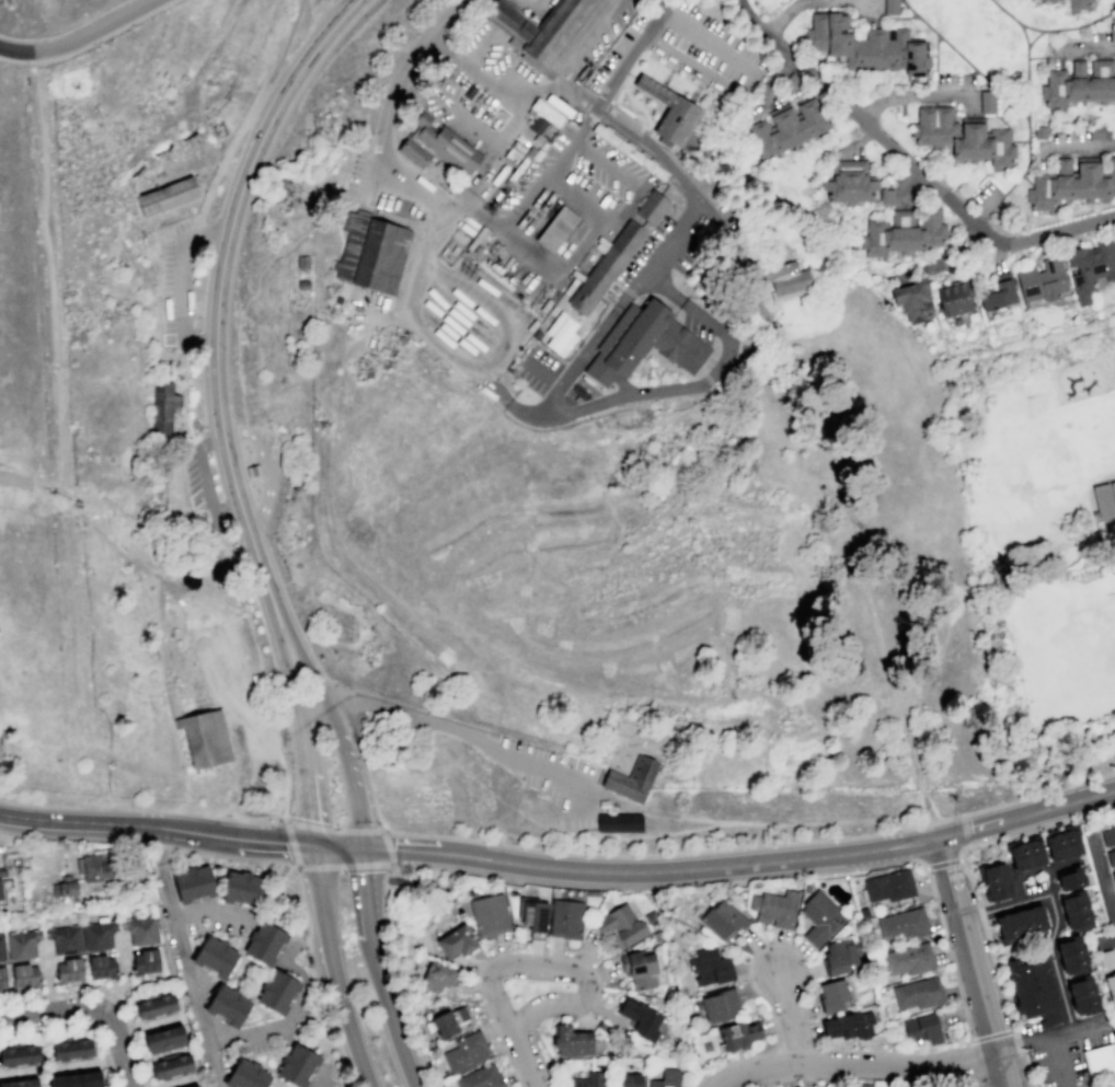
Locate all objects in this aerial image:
road: (903, 1)
building: (1079, 3)
building: (889, 7)
road: (532, 8)
road: (867, 8)
parking lot: (683, 9)
road: (784, 14)
parking lot: (616, 25)
building: (548, 30)
road: (1054, 30)
road: (78, 36)
road: (1034, 36)
road: (589, 42)
road: (89, 44)
building: (514, 44)
road: (444, 45)
building: (866, 45)
road: (284, 46)
parking lot: (618, 49)
parking lot: (705, 49)
road: (1087, 51)
road: (406, 65)
road: (1026, 70)
road: (476, 71)
road: (767, 78)
road: (777, 78)
road: (751, 80)
building: (1080, 81)
building: (791, 82)
road: (557, 84)
road: (917, 96)
building: (986, 101)
parking lot: (490, 103)
road: (1011, 103)
building: (559, 105)
road: (954, 105)
building: (547, 113)
building: (675, 119)
road: (618, 124)
road: (1007, 126)
building: (785, 128)
building: (538, 130)
building: (1039, 131)
building: (1095, 131)
building: (962, 136)
road: (497, 139)
building: (612, 139)
road: (1071, 147)
building: (439, 148)
building: (529, 151)
road: (227, 152)
road: (562, 159)
building: (648, 164)
road: (909, 164)
road: (618, 170)
building: (442, 172)
road: (1026, 180)
building: (848, 182)
building: (1070, 182)
parking lot: (372, 183)
building: (508, 184)
building: (657, 187)
building: (166, 196)
parking lot: (573, 196)
building: (885, 197)
parking lot: (984, 198)
road: (355, 204)
building: (652, 207)
road: (473, 208)
road: (982, 208)
building: (363, 212)
road: (337, 219)
road: (196, 227)
road: (499, 228)
building: (557, 229)
building: (901, 232)
road: (755, 244)
building: (371, 253)
parking lot: (687, 255)
parking lot: (637, 256)
road: (944, 261)
building: (301, 262)
building: (606, 267)
building: (1090, 267)
building: (784, 276)
road: (49, 278)
parking lot: (435, 278)
building: (1042, 279)
road: (181, 280)
building: (302, 284)
parking lot: (179, 286)
road: (623, 288)
building: (736, 290)
building: (998, 290)
road: (217, 293)
road: (657, 294)
building: (953, 297)
road: (636, 298)
building: (337, 299)
building: (912, 299)
road: (246, 301)
road: (663, 302)
road: (759, 310)
road: (484, 317)
building: (552, 325)
parking lot: (697, 328)
building: (537, 333)
building: (562, 337)
building: (400, 338)
parking lot: (171, 342)
road: (589, 342)
road: (182, 343)
building: (643, 343)
building: (383, 350)
parking lot: (737, 361)
road: (673, 366)
parking lot: (735, 366)
parking lot: (536, 368)
road: (540, 372)
road: (701, 372)
road: (708, 380)
road: (618, 382)
road: (622, 383)
road: (596, 386)
building: (162, 406)
road: (560, 414)
road: (186, 431)
parking lot: (272, 452)
road: (269, 466)
road: (203, 470)
building: (252, 471)
parking lot: (195, 476)
parking lot: (202, 495)
building: (1104, 497)
road: (211, 539)
road: (163, 553)
road: (929, 573)
road: (1051, 586)
road: (988, 587)
road: (872, 617)
road: (159, 625)
parking lot: (226, 646)
road: (228, 657)
road: (303, 659)
road: (284, 666)
road: (179, 696)
road: (343, 701)
road: (188, 707)
road: (279, 716)
road: (331, 716)
building: (361, 721)
road: (452, 727)
road: (658, 735)
building: (204, 738)
road: (340, 741)
road: (658, 761)
road: (601, 765)
road: (366, 773)
road: (349, 775)
parking lot: (552, 777)
building: (632, 778)
road: (307, 779)
road: (913, 785)
road: (285, 790)
road: (1028, 796)
power tower: (954, 801)
building: (602, 803)
road: (152, 811)
road: (689, 818)
road: (857, 819)
street lamp: (279, 820)
road: (356, 820)
road: (104, 822)
street lamp: (376, 822)
building: (619, 822)
road: (932, 822)
road: (1041, 826)
road: (332, 830)
road: (965, 830)
building: (1107, 836)
road: (74, 839)
road: (260, 841)
building: (1062, 842)
road: (288, 843)
road: (159, 845)
traffic signals: (312, 845)
road: (335, 846)
traffic signals: (359, 847)
road: (388, 847)
road: (419, 851)
street lamp: (968, 852)
street lamp: (186, 853)
building: (1025, 853)
road: (652, 855)
building: (1111, 856)
road: (801, 858)
building: (10, 863)
street lamp: (289, 863)
road: (943, 863)
building: (96, 866)
road: (345, 866)
street lamp: (398, 866)
road: (1032, 871)
building: (1113, 876)
road: (951, 878)
road: (394, 879)
building: (1071, 879)
building: (995, 881)
road: (1103, 881)
building: (193, 883)
road: (281, 884)
building: (888, 886)
building: (65, 887)
building: (241, 889)
building: (1, 892)
road: (416, 892)
road: (363, 893)
building: (774, 907)
road: (214, 910)
road: (262, 910)
building: (1076, 910)
building: (863, 912)
building: (488, 914)
road: (307, 915)
building: (533, 915)
building: (651, 916)
building: (819, 917)
road: (1055, 917)
building: (565, 918)
building: (722, 918)
building: (1036, 918)
road: (941, 923)
building: (1021, 923)
parking lot: (219, 924)
building: (903, 924)
building: (620, 925)
building: (140, 928)
building: (1004, 928)
road: (216, 930)
building: (97, 934)
road: (987, 935)
building: (64, 938)
road: (1107, 939)
road: (164, 940)
building: (456, 941)
building: (21, 943)
building: (265, 944)
road: (239, 947)
building: (1, 949)
building: (214, 956)
building: (1072, 956)
road: (185, 957)
building: (839, 957)
road: (241, 958)
road: (372, 958)
road: (553, 958)
building: (908, 958)
building: (1105, 958)
building: (145, 961)
building: (101, 965)
road: (334, 967)
building: (710, 967)
building: (68, 969)
road: (555, 969)
building: (639, 969)
building: (23, 974)
building: (1, 976)
building: (438, 976)
road: (124, 978)
road: (47, 980)
building: (1033, 987)
building: (1111, 987)
road: (83, 988)
road: (409, 988)
street lamp: (505, 990)
road: (49, 992)
building: (278, 992)
building: (918, 992)
building: (832, 995)
road: (21, 996)
building: (1082, 996)
road: (114, 997)
road: (984, 1003)
building: (720, 1005)
building: (154, 1006)
building: (227, 1006)
road: (92, 1007)
road: (257, 1008)
road: (126, 1010)
road: (789, 1016)
road: (290, 1017)
building: (640, 1018)
building: (449, 1020)
road: (147, 1022)
road: (1113, 1022)
building: (600, 1025)
building: (848, 1025)
road: (62, 1027)
road: (133, 1027)
building: (922, 1029)
road: (265, 1030)
road: (393, 1032)
road: (1014, 1032)
road: (1048, 1032)
building: (738, 1034)
road: (990, 1036)
building: (163, 1039)
building: (571, 1040)
road: (1016, 1042)
building: (71, 1048)
road: (280, 1048)
road: (794, 1048)
building: (464, 1052)
road: (258, 1053)
parking lot: (1065, 1053)
building: (19, 1054)
road: (139, 1059)
road: (525, 1059)
road: (970, 1059)
road: (1058, 1060)
road: (276, 1061)
road: (104, 1062)
building: (1100, 1062)
building: (297, 1065)
road: (853, 1065)
road: (60, 1066)
building: (171, 1066)
road: (1023, 1068)
building: (245, 1075)
road: (319, 1075)
road: (108, 1076)
building: (481, 1077)
road: (802, 1077)
building: (666, 1078)
building: (76, 1079)
building: (588, 1079)
building: (629, 1079)
road: (923, 1079)
road: (174, 1082)
building: (20, 1083)
road: (1102, 1084)
road: (146, 1085)
building: (865, 1085)
building: (194, 1086)
building: (1114, 1086)

